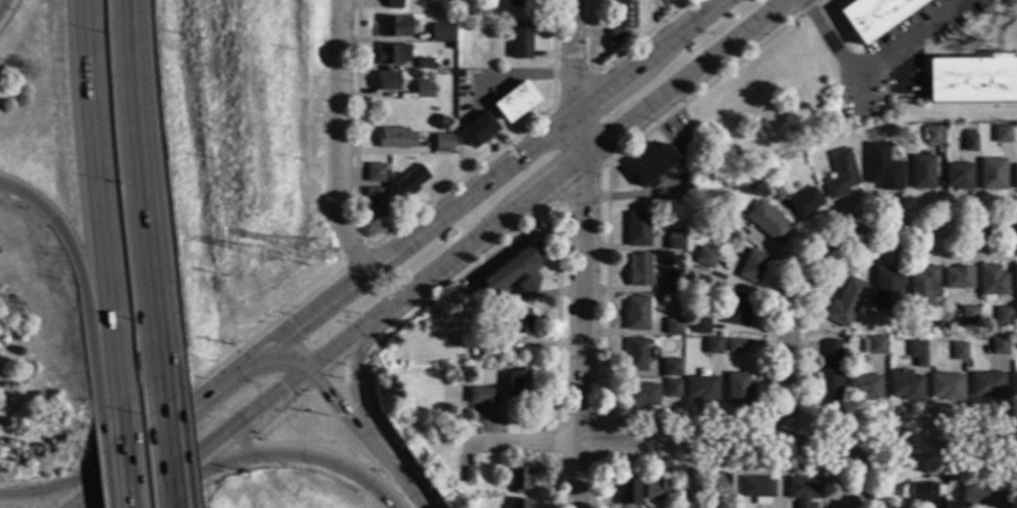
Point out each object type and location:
building: (519, 3)
building: (394, 4)
road: (4, 7)
building: (874, 16)
building: (623, 18)
building: (390, 27)
building: (438, 32)
building: (451, 36)
road: (644, 36)
building: (520, 41)
building: (453, 46)
building: (393, 54)
building: (424, 63)
road: (872, 67)
road: (596, 73)
building: (972, 79)
building: (387, 81)
building: (423, 89)
street lamp: (106, 93)
building: (514, 102)
building: (477, 130)
building: (1002, 134)
building: (934, 135)
building: (395, 138)
road: (339, 140)
building: (443, 143)
building: (970, 143)
building: (807, 145)
building: (652, 165)
building: (883, 167)
building: (374, 172)
building: (922, 172)
building: (841, 174)
building: (993, 174)
building: (763, 175)
building: (959, 176)
building: (1016, 177)
building: (410, 182)
building: (751, 184)
road: (97, 186)
road: (141, 187)
building: (776, 191)
building: (374, 202)
building: (805, 202)
building: (730, 217)
building: (767, 222)
building: (705, 223)
building: (637, 230)
building: (673, 241)
road: (396, 250)
road: (579, 253)
road: (824, 253)
road: (460, 255)
street lamp: (119, 257)
power tower: (319, 258)
building: (705, 258)
power tower: (269, 263)
road: (74, 265)
building: (752, 266)
building: (639, 270)
building: (514, 271)
building: (958, 278)
building: (1015, 279)
building: (991, 280)
building: (672, 284)
building: (922, 287)
building: (887, 288)
building: (844, 303)
building: (736, 310)
building: (636, 313)
building: (967, 315)
building: (1002, 316)
building: (519, 321)
building: (700, 325)
building: (672, 326)
building: (936, 326)
building: (982, 337)
building: (677, 340)
building: (734, 345)
building: (873, 345)
building: (999, 345)
building: (712, 346)
building: (488, 347)
building: (830, 349)
traffic signals: (272, 351)
building: (959, 351)
building: (917, 353)
building: (635, 355)
building: (476, 358)
road: (321, 364)
traffic signals: (321, 364)
building: (670, 368)
road: (352, 370)
building: (518, 382)
building: (829, 382)
road: (160, 385)
building: (905, 385)
building: (988, 385)
building: (1014, 385)
building: (864, 387)
building: (946, 387)
road: (116, 388)
building: (701, 388)
building: (672, 389)
building: (738, 389)
building: (642, 395)
building: (483, 396)
building: (458, 414)
street lamp: (136, 419)
road: (623, 423)
road: (372, 434)
road: (737, 439)
road: (166, 451)
road: (176, 451)
road: (304, 455)
road: (122, 456)
road: (858, 472)
building: (469, 475)
building: (518, 480)
road: (409, 485)
building: (709, 488)
building: (654, 489)
building: (757, 489)
building: (803, 491)
road: (48, 492)
building: (628, 492)
building: (925, 494)
building: (982, 497)
building: (518, 504)

